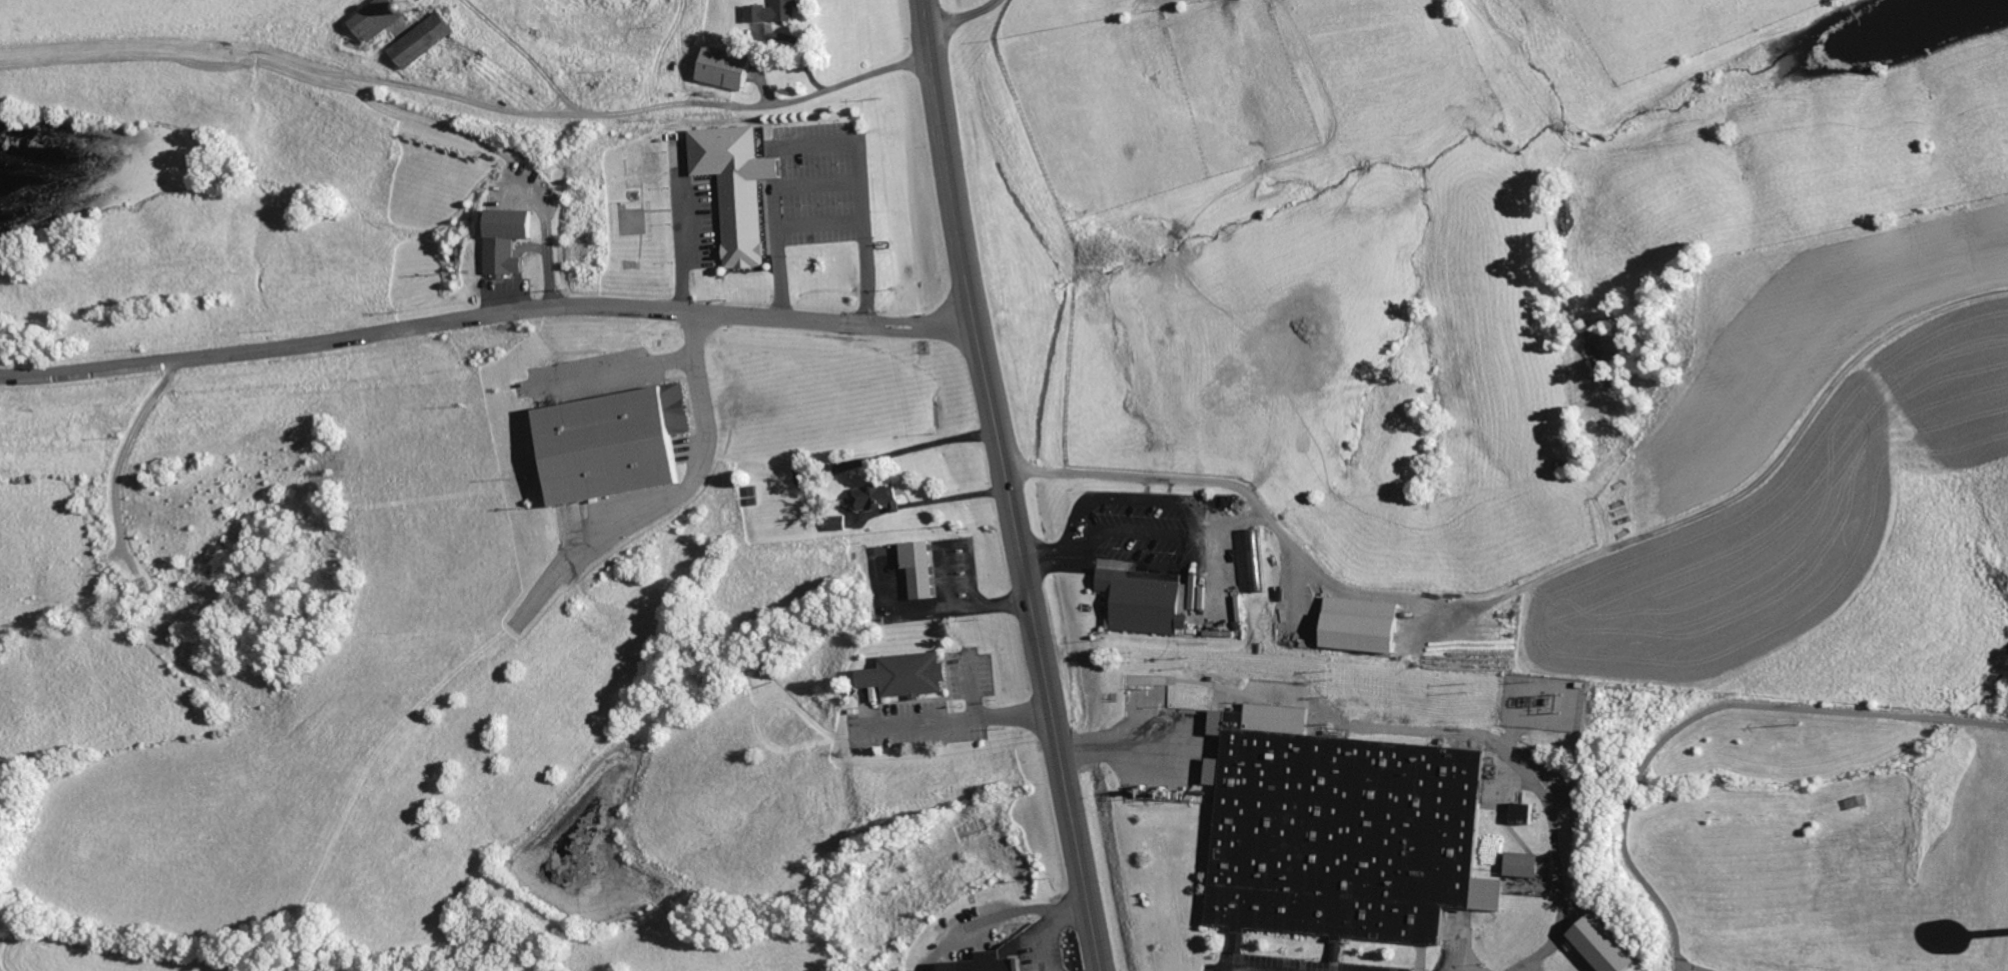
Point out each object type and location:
building: (773, 11)
building: (380, 18)
building: (424, 39)
building: (731, 67)
road: (822, 185)
building: (736, 189)
helipad: (630, 222)
road: (821, 223)
building: (504, 240)
road: (486, 306)
building: (610, 442)
road: (1227, 484)
road: (1008, 485)
building: (879, 496)
road: (1229, 521)
building: (839, 522)
road: (1199, 523)
road: (1038, 555)
building: (1250, 560)
building: (916, 569)
building: (1140, 602)
building: (1367, 624)
building: (906, 673)
power substation: (1534, 701)
road: (962, 717)
building: (1522, 813)
building: (969, 828)
building: (1341, 832)
park: (1819, 833)
building: (1523, 865)
building: (991, 892)
building: (1240, 942)
building: (1609, 946)
building: (988, 962)
building: (870, 969)

